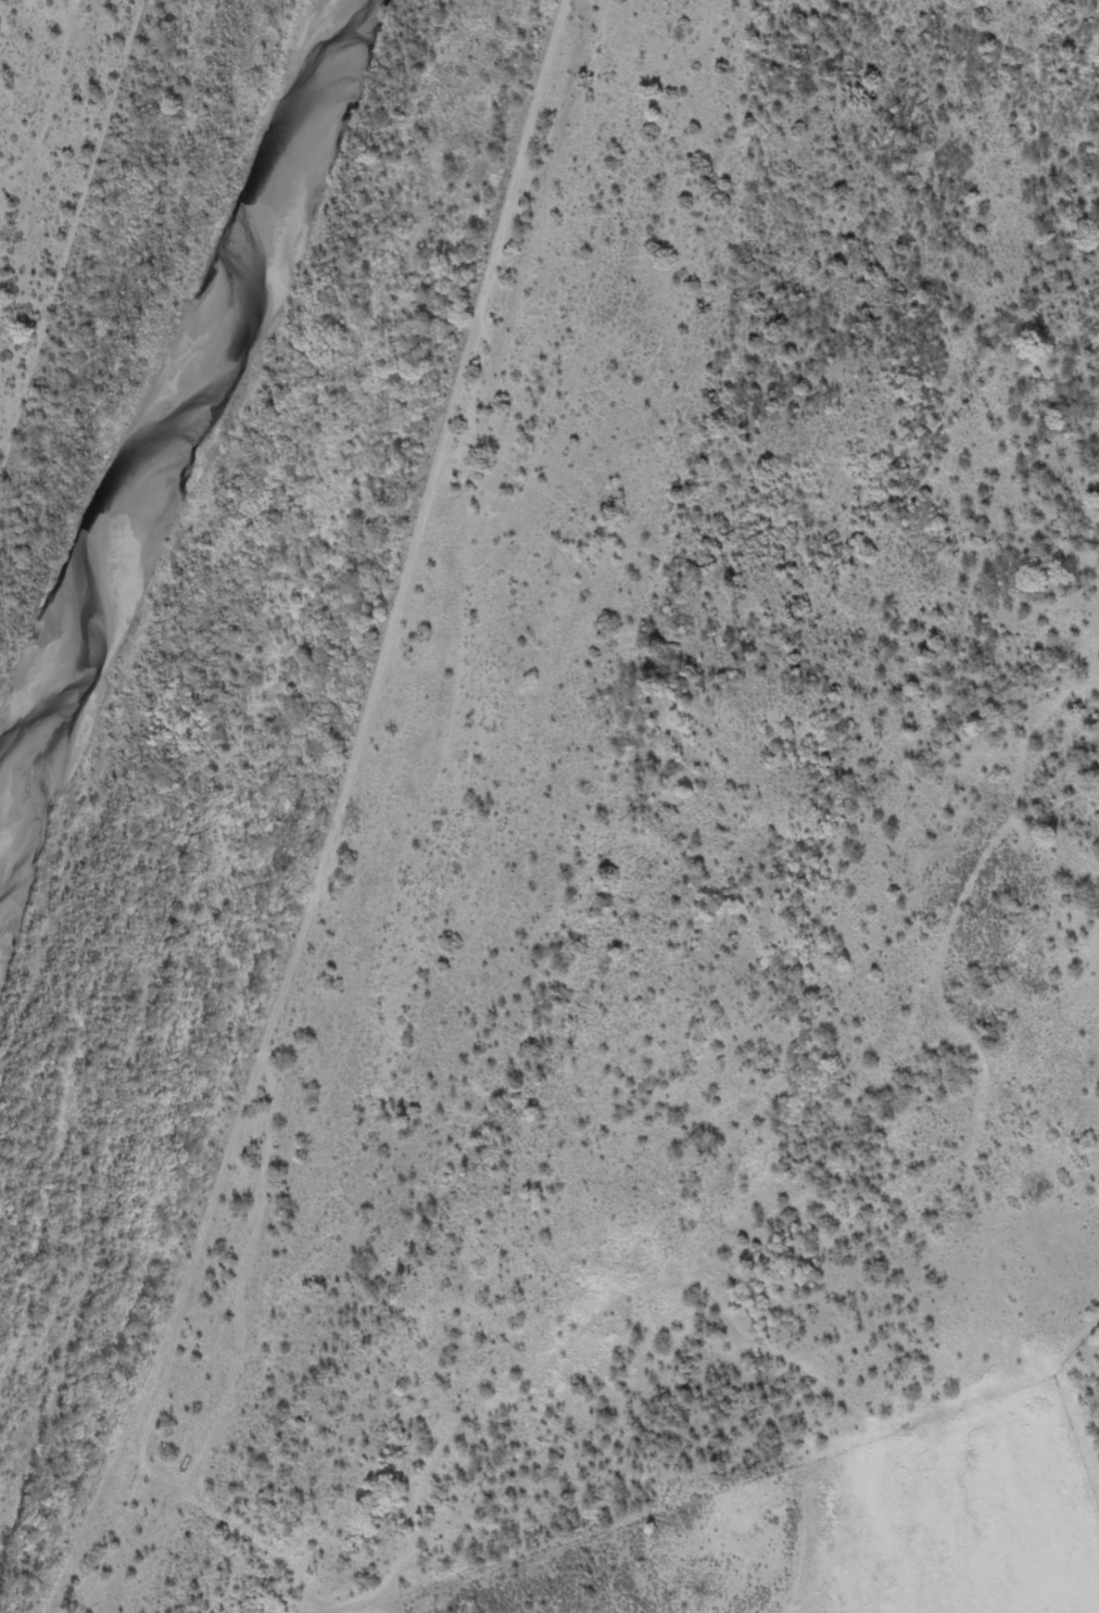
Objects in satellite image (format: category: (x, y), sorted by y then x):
river: (346, 11)
river: (172, 459)

